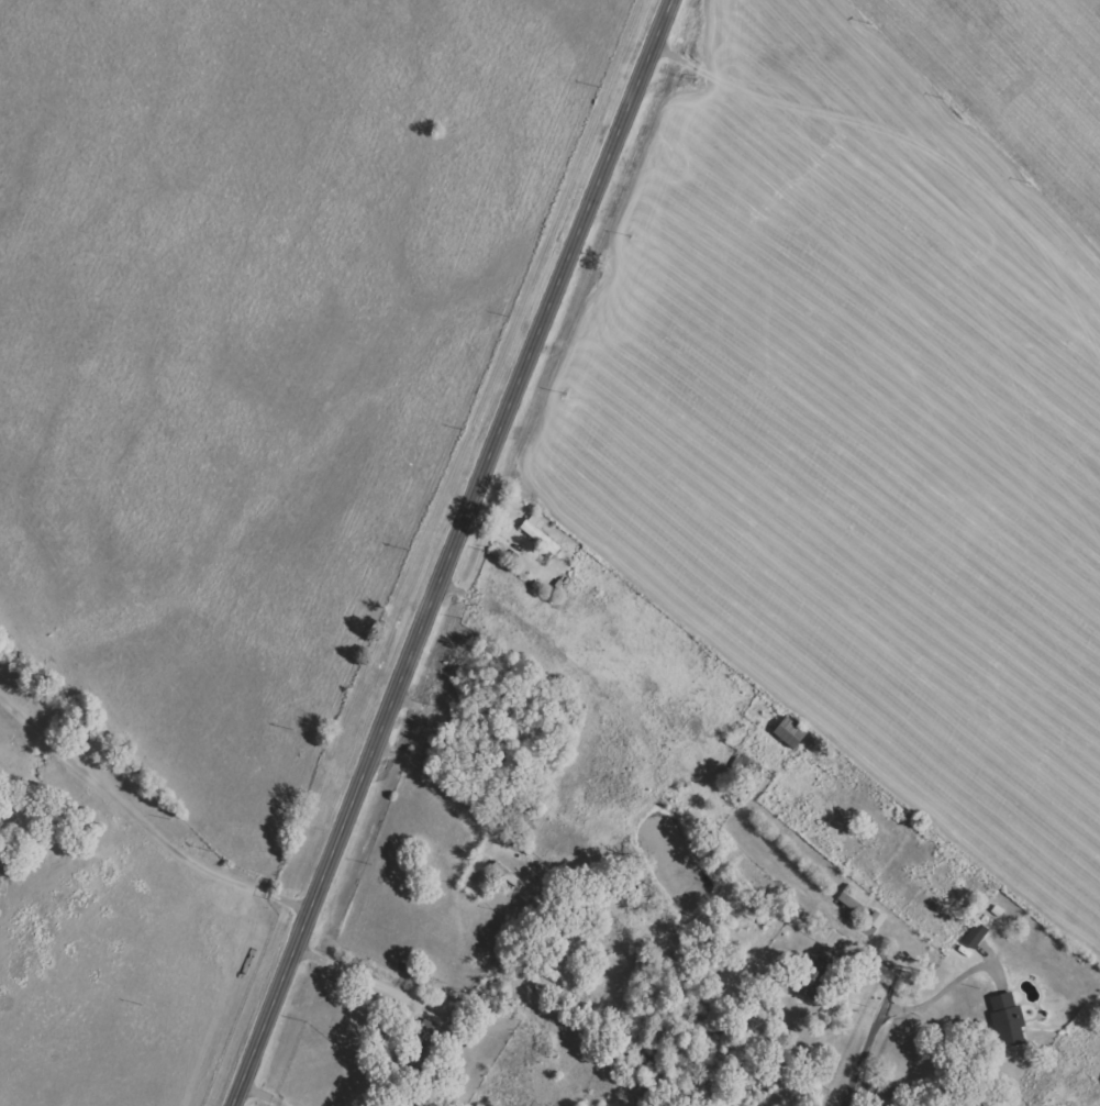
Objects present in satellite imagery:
road: (453, 552)
building: (790, 732)
road: (443, 792)
road: (143, 821)
building: (854, 898)
building: (976, 934)
road: (357, 974)
road: (951, 985)
building: (1009, 1019)
road: (873, 1038)
road: (865, 1093)
road: (265, 1094)

